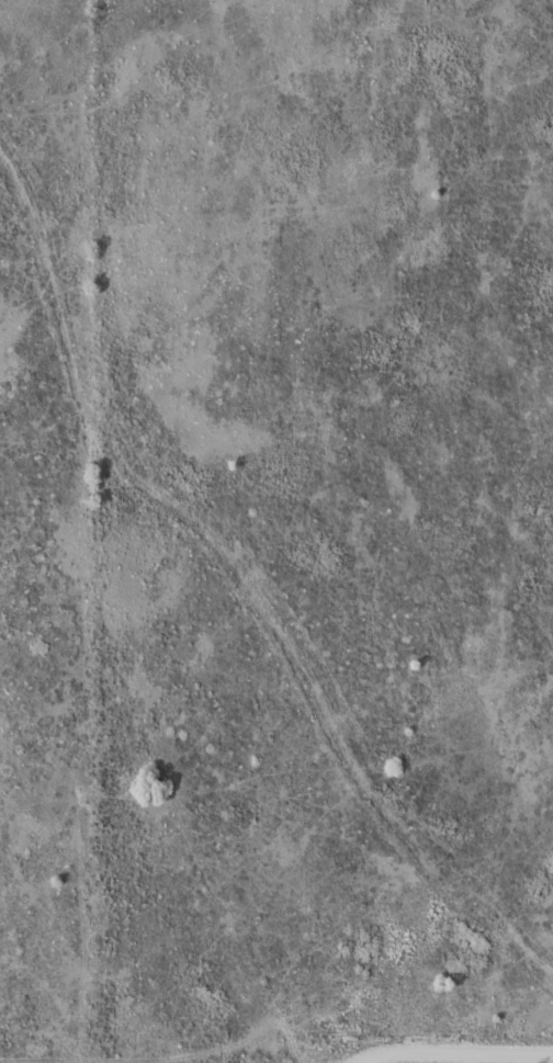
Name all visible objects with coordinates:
road: (458, 1053)

